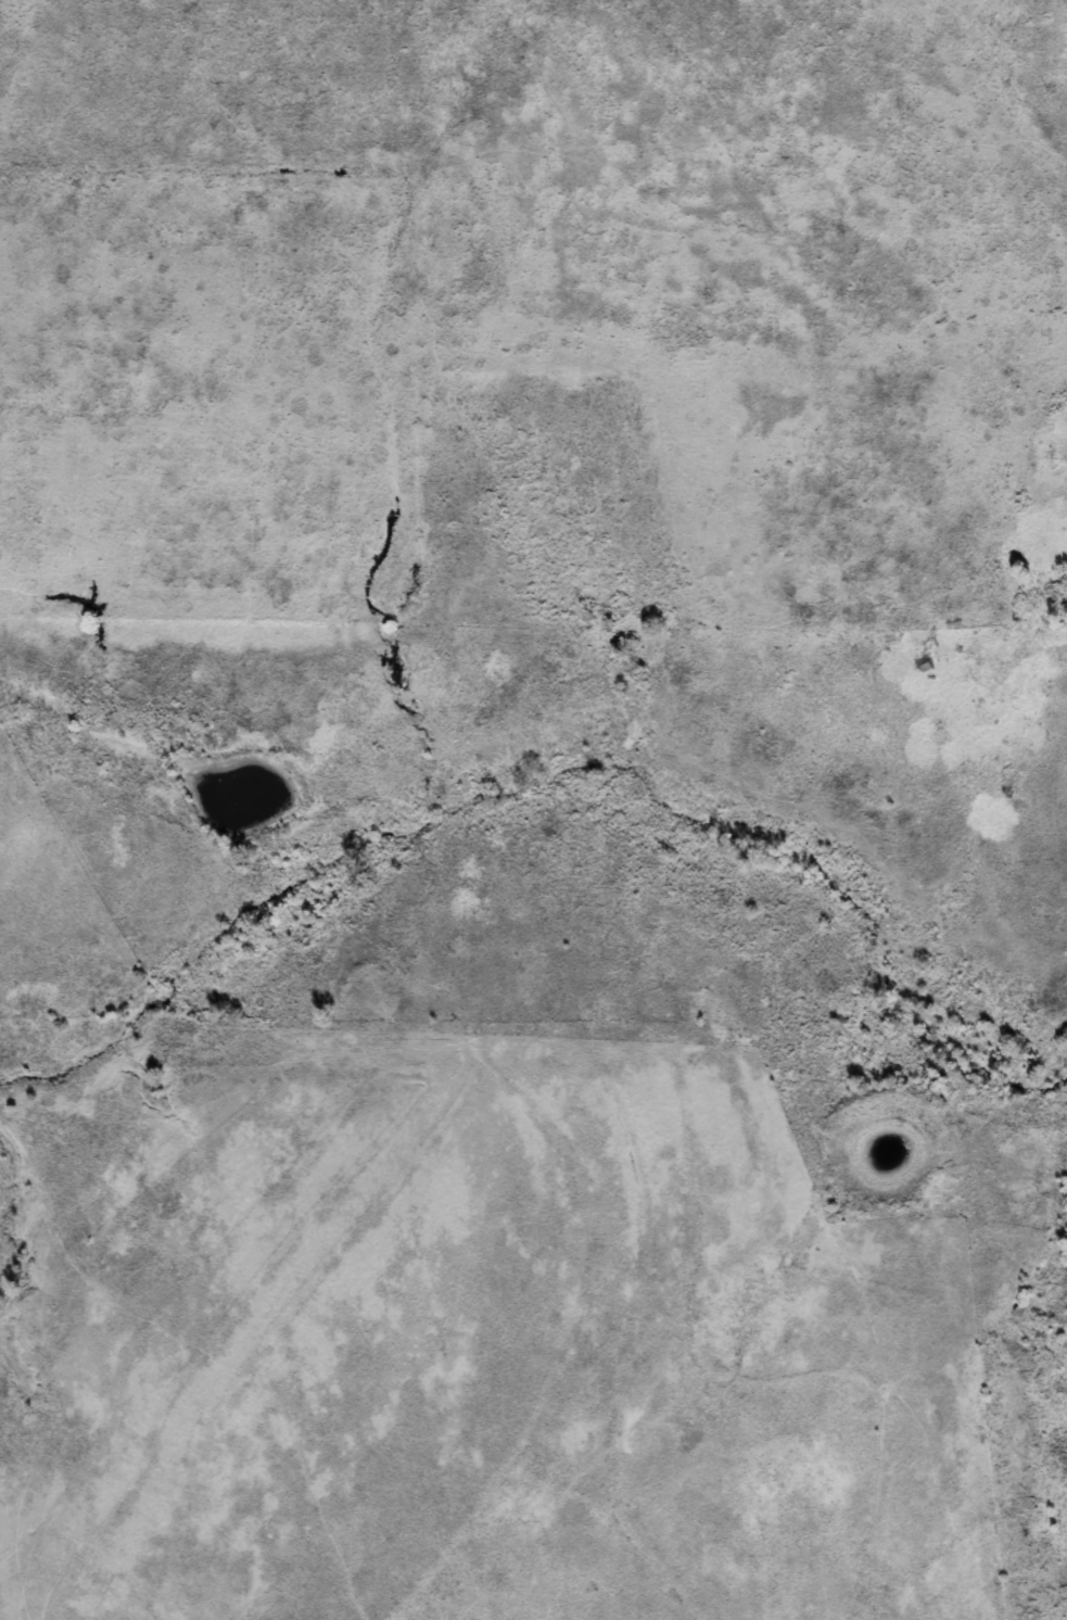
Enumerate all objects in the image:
building: (920, 665)

